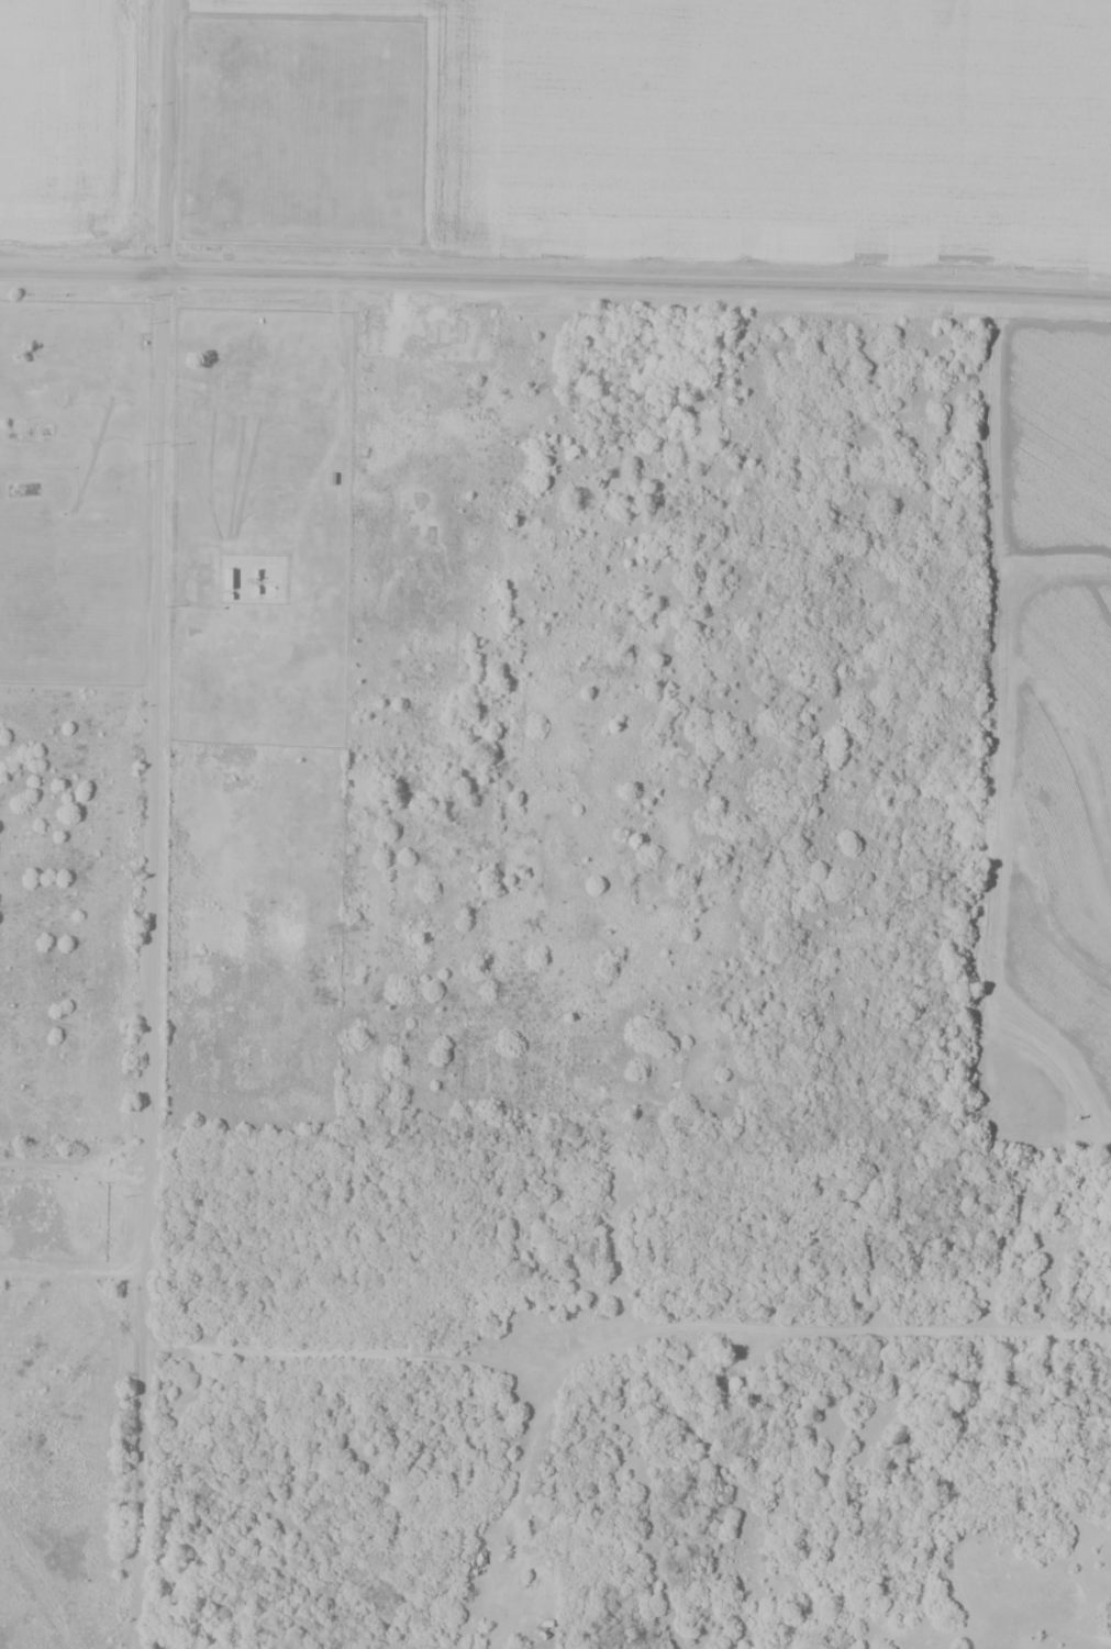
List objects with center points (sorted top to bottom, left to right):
road: (555, 287)
building: (219, 365)
building: (24, 432)
building: (198, 432)
building: (233, 511)
building: (197, 557)
building: (190, 725)
road: (152, 824)
road: (70, 1270)
building: (479, 1564)
building: (465, 1581)
road: (122, 1637)

